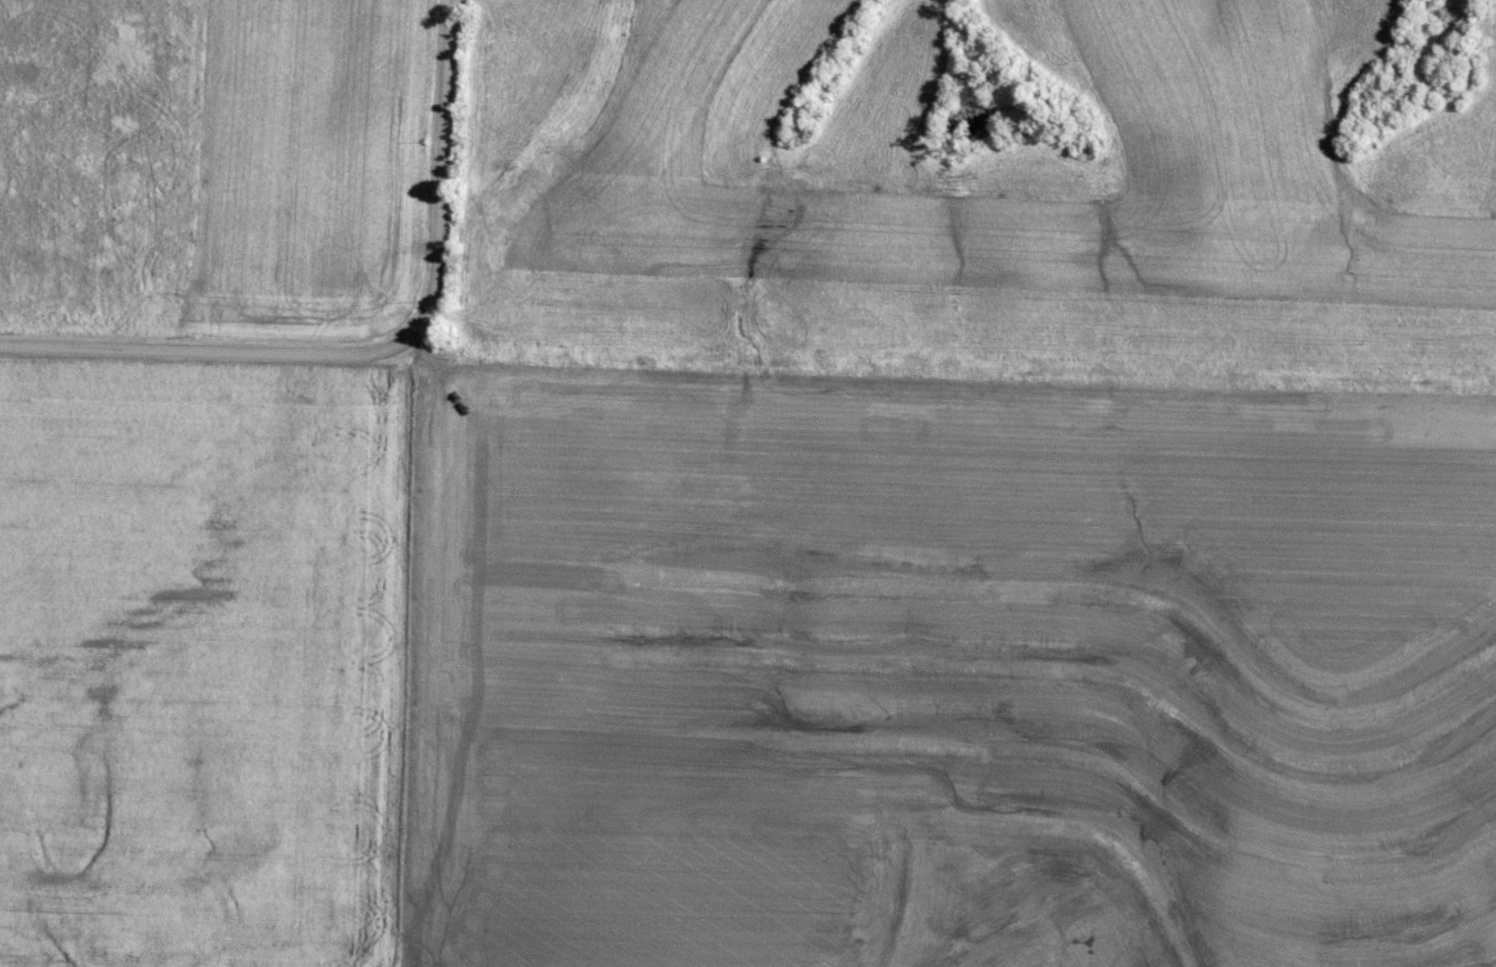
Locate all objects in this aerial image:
road: (448, 0)
road: (378, 350)

